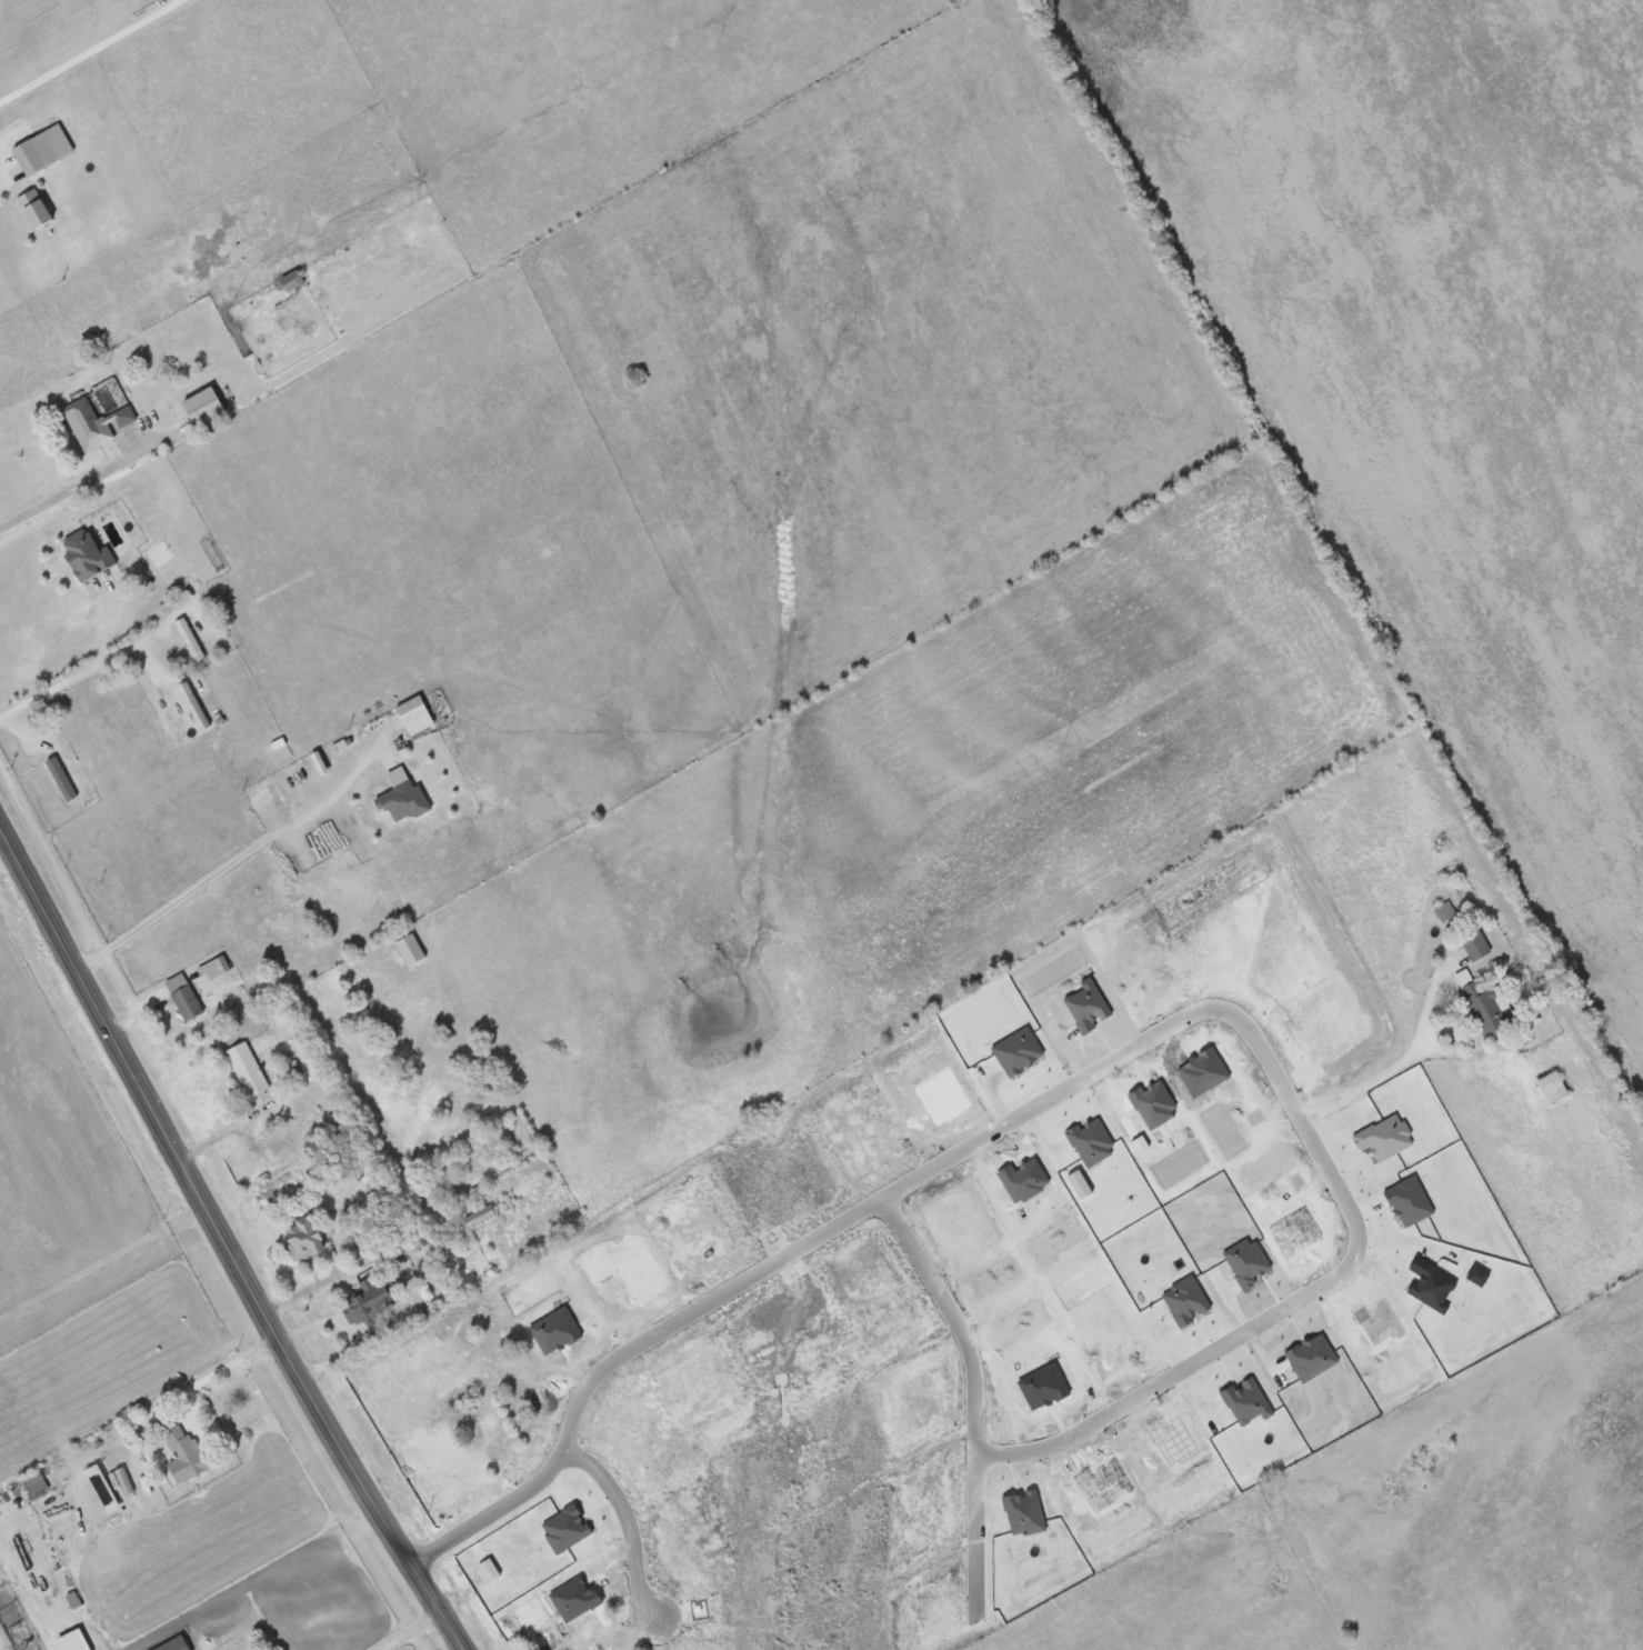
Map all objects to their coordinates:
building: (46, 151)
building: (37, 211)
building: (294, 282)
building: (207, 408)
building: (97, 426)
road: (70, 490)
building: (192, 641)
road: (83, 673)
building: (62, 779)
building: (279, 802)
building: (1446, 911)
building: (1477, 943)
building: (412, 950)
building: (1465, 977)
building: (186, 997)
building: (1487, 1006)
road: (1221, 1009)
building: (1530, 1040)
building: (1235, 1050)
building: (250, 1069)
road: (1389, 1072)
building: (1554, 1087)
building: (1328, 1206)
building: (307, 1239)
road: (227, 1244)
building: (558, 1263)
building: (372, 1299)
building: (522, 1372)
building: (488, 1434)
building: (187, 1454)
building: (124, 1481)
building: (36, 1482)
road: (398, 1607)
building: (570, 1643)

